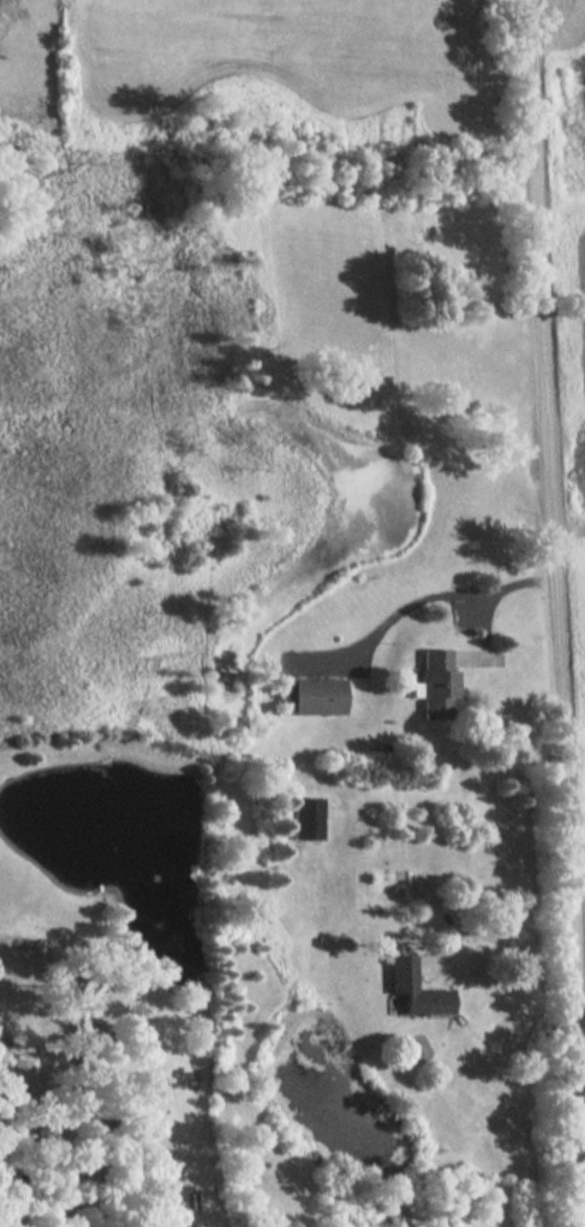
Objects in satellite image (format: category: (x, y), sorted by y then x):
road: (560, 613)
building: (430, 683)
building: (306, 697)
building: (299, 817)
road: (505, 941)
building: (407, 989)

